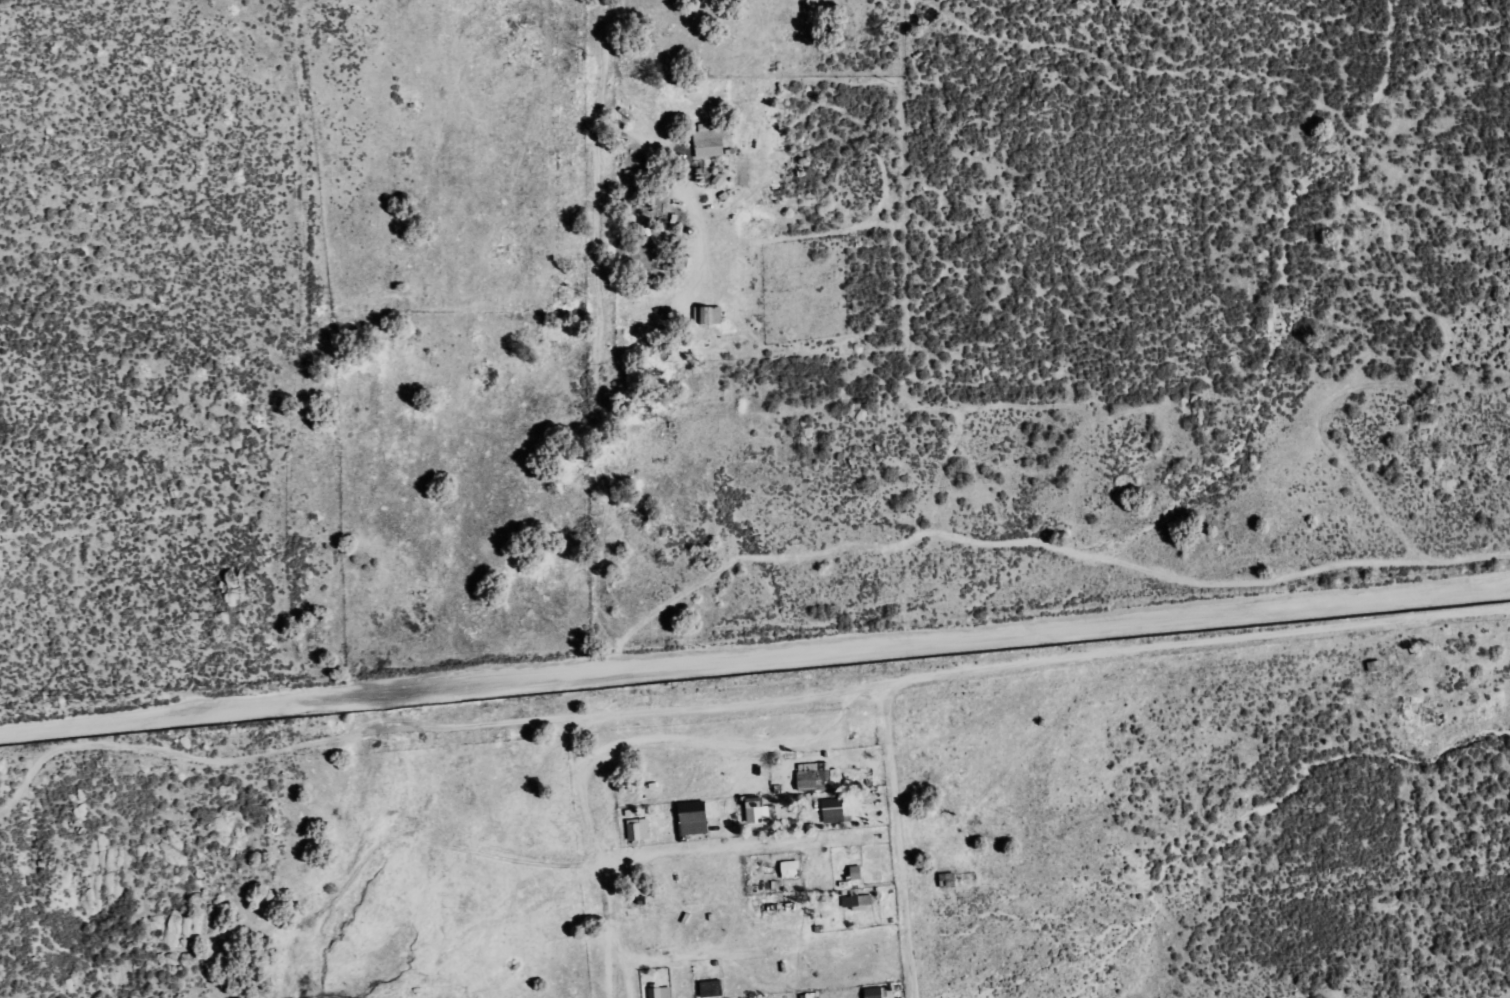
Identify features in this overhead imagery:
building: (708, 143)
building: (719, 179)
road: (401, 247)
building: (711, 315)
road: (754, 653)
road: (738, 705)
building: (806, 779)
building: (833, 809)
building: (756, 810)
building: (692, 811)
building: (639, 830)
road: (897, 841)
road: (731, 849)
road: (597, 858)
building: (790, 869)
building: (856, 872)
building: (857, 902)
road: (745, 950)
building: (663, 992)
building: (874, 992)

